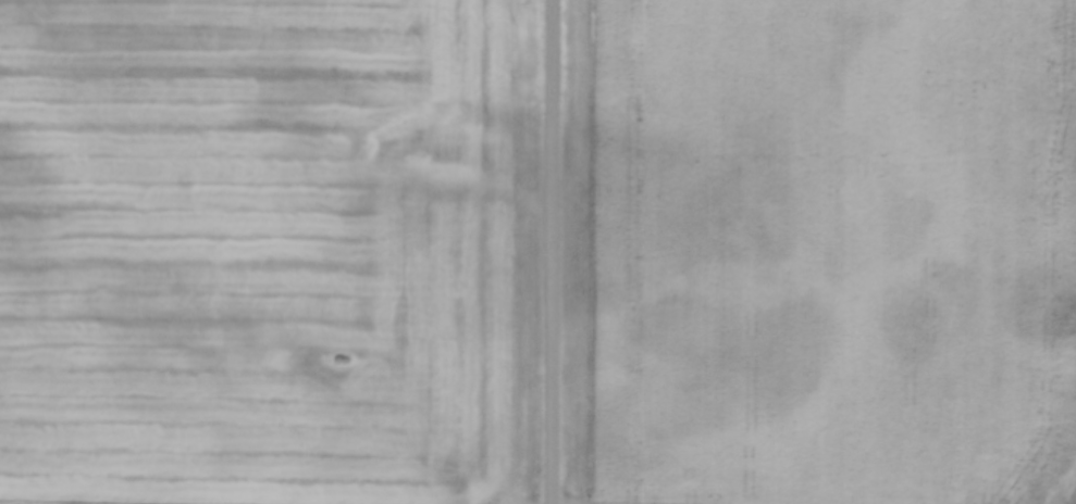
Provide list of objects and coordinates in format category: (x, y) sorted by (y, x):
road: (548, 251)

